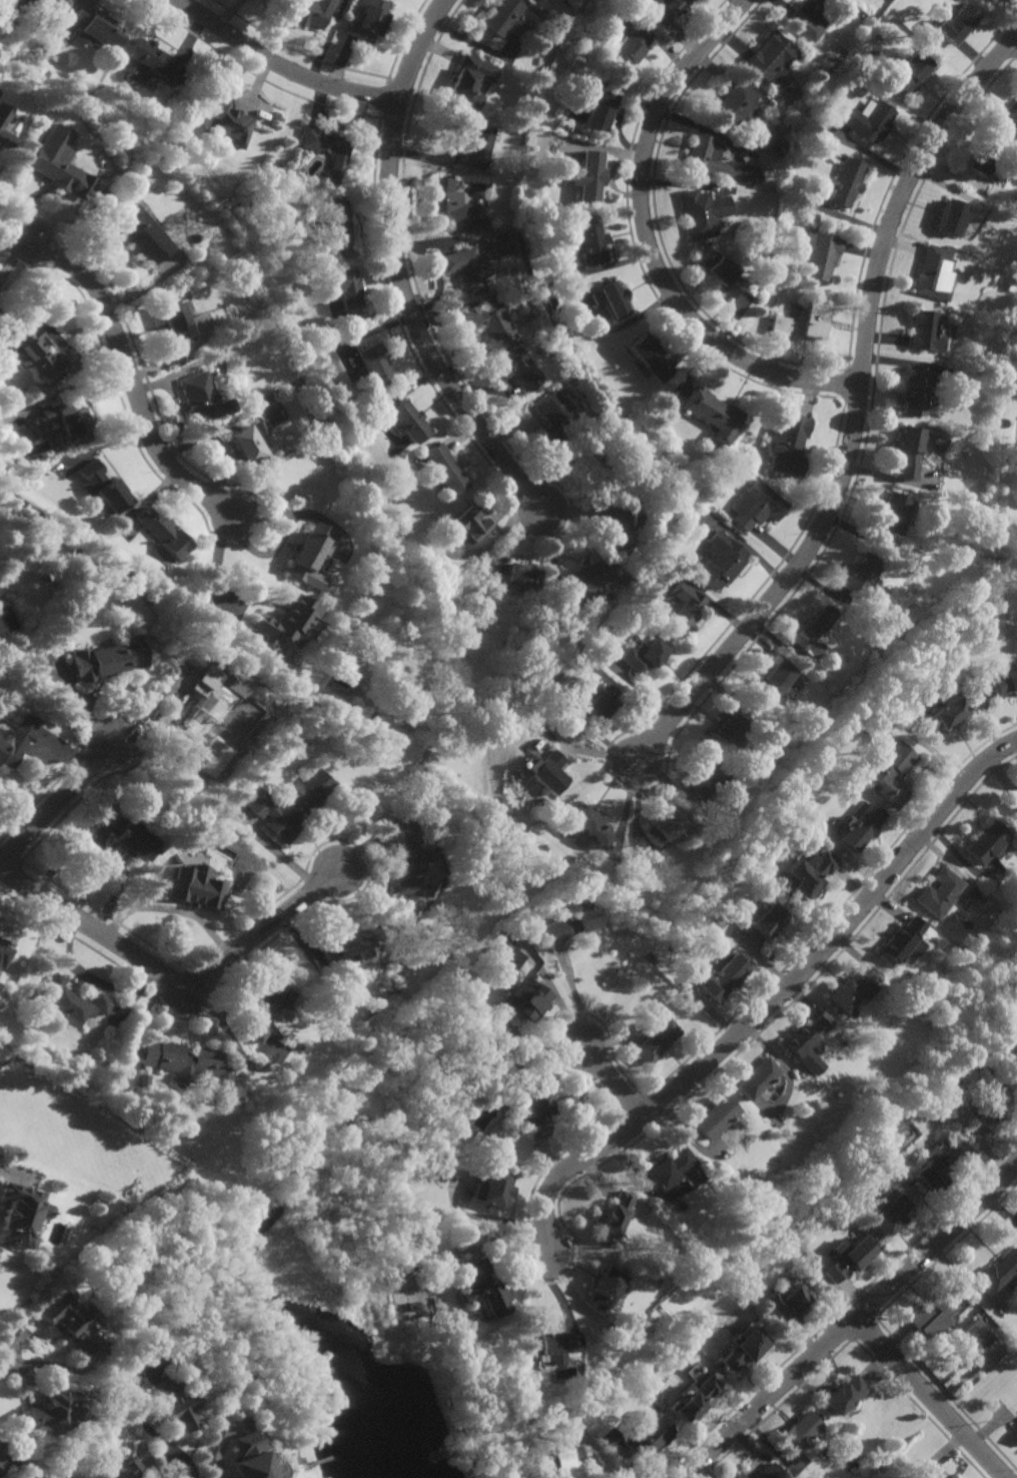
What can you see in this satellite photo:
building: (51, 8)
building: (664, 9)
building: (310, 11)
building: (810, 15)
building: (501, 17)
building: (369, 21)
building: (955, 23)
building: (94, 31)
building: (945, 46)
road: (418, 48)
building: (629, 50)
building: (772, 58)
building: (833, 63)
building: (150, 65)
road: (282, 65)
building: (826, 70)
building: (910, 72)
building: (471, 80)
building: (735, 104)
building: (597, 110)
building: (1010, 113)
building: (227, 120)
building: (869, 120)
building: (4, 130)
building: (474, 141)
building: (326, 148)
building: (982, 156)
building: (53, 158)
building: (715, 160)
building: (589, 173)
building: (758, 177)
building: (844, 183)
road: (902, 195)
building: (444, 199)
building: (476, 208)
building: (704, 211)
building: (950, 216)
building: (335, 219)
building: (143, 237)
building: (590, 237)
road: (649, 242)
building: (504, 244)
building: (821, 254)
building: (467, 268)
building: (516, 269)
building: (932, 273)
building: (726, 276)
building: (342, 285)
building: (613, 298)
building: (552, 300)
building: (176, 321)
building: (803, 321)
road: (415, 323)
building: (491, 323)
building: (926, 331)
building: (26, 340)
building: (651, 356)
road: (124, 363)
building: (373, 365)
building: (520, 370)
building: (916, 392)
building: (200, 397)
building: (714, 413)
building: (558, 420)
building: (409, 421)
building: (60, 424)
building: (244, 441)
building: (789, 445)
building: (911, 450)
building: (588, 456)
building: (444, 468)
building: (103, 488)
building: (758, 506)
building: (893, 515)
building: (623, 522)
building: (468, 525)
building: (164, 532)
building: (76, 547)
building: (309, 555)
building: (721, 560)
building: (862, 577)
building: (522, 578)
building: (590, 578)
road: (217, 582)
road: (778, 589)
building: (683, 612)
building: (288, 621)
building: (537, 625)
building: (64, 631)
building: (812, 632)
building: (642, 657)
building: (109, 660)
building: (42, 668)
building: (771, 681)
building: (1005, 684)
building: (600, 699)
building: (943, 717)
building: (372, 719)
building: (197, 727)
building: (724, 729)
building: (17, 741)
building: (550, 774)
building: (890, 775)
building: (703, 782)
road: (21, 804)
road: (57, 804)
building: (287, 804)
building: (1015, 806)
building: (664, 826)
building: (589, 827)
building: (862, 830)
building: (129, 836)
building: (986, 844)
building: (411, 872)
building: (809, 878)
building: (195, 888)
building: (937, 892)
building: (770, 919)
building: (574, 920)
road: (837, 934)
building: (901, 938)
building: (347, 943)
building: (3, 947)
building: (3, 969)
building: (723, 976)
road: (171, 978)
building: (521, 990)
building: (850, 990)
road: (573, 996)
building: (71, 1002)
building: (266, 1012)
building: (807, 1033)
building: (656, 1041)
building: (1009, 1051)
building: (496, 1056)
building: (192, 1066)
building: (758, 1078)
building: (50, 1080)
building: (142, 1080)
road: (612, 1082)
building: (987, 1107)
building: (538, 1109)
building: (716, 1117)
road: (568, 1167)
building: (933, 1169)
building: (671, 1172)
building: (494, 1188)
building: (886, 1214)
building: (19, 1215)
building: (615, 1218)
building: (847, 1258)
building: (1000, 1270)
building: (603, 1291)
building: (483, 1292)
building: (790, 1306)
building: (934, 1315)
road: (852, 1322)
building: (71, 1324)
building: (978, 1334)
building: (553, 1347)
building: (743, 1349)
road: (6, 1371)
building: (847, 1395)
road: (929, 1399)
building: (695, 1402)
building: (177, 1405)
building: (52, 1411)
road: (144, 1425)
building: (799, 1433)
building: (606, 1436)
building: (1015, 1436)
building: (646, 1440)
building: (245, 1458)
building: (6, 1461)
building: (563, 1463)
building: (125, 1471)
building: (769, 1472)
building: (738, 1476)
building: (951, 1477)

